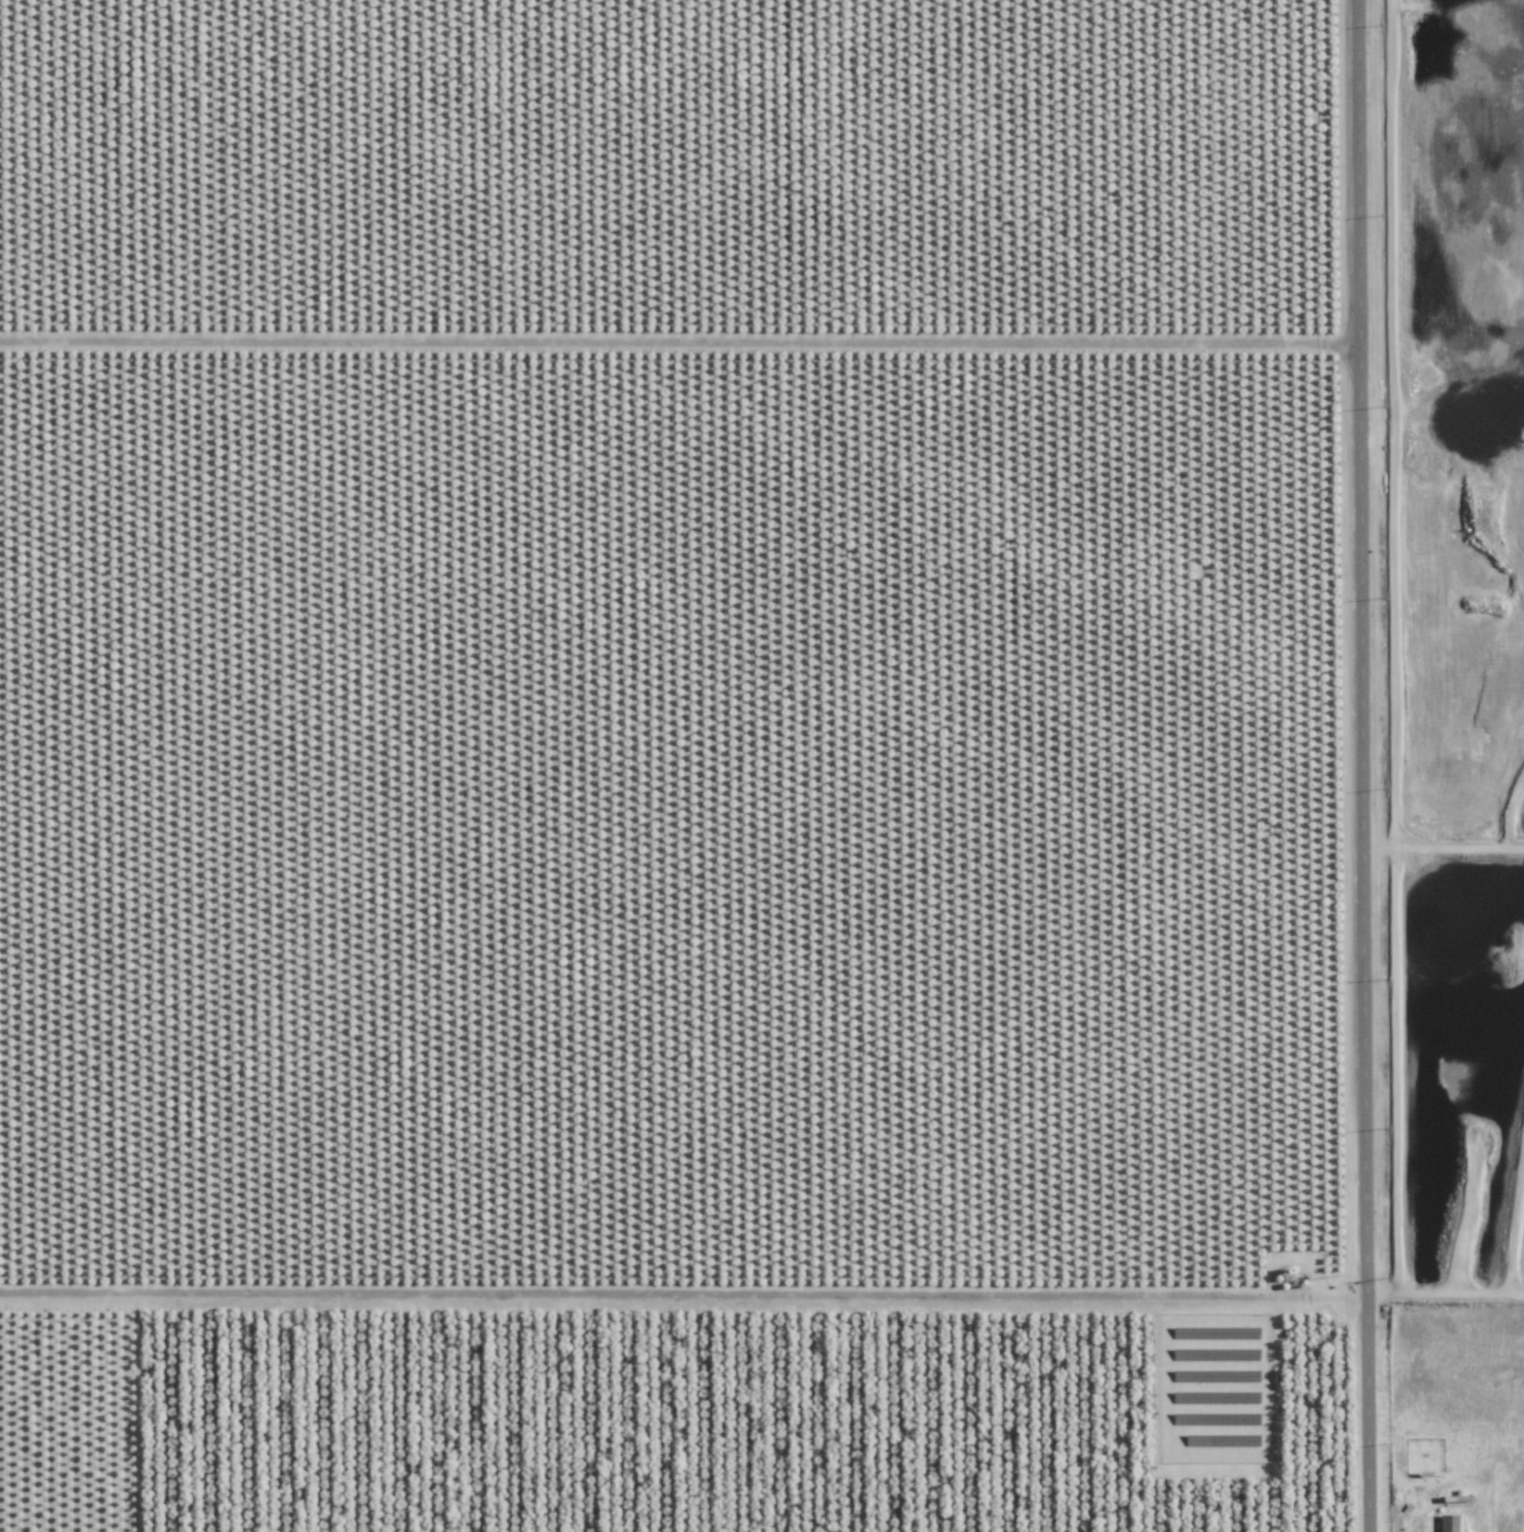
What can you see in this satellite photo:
road: (1363, 766)
building: (1446, 1523)

